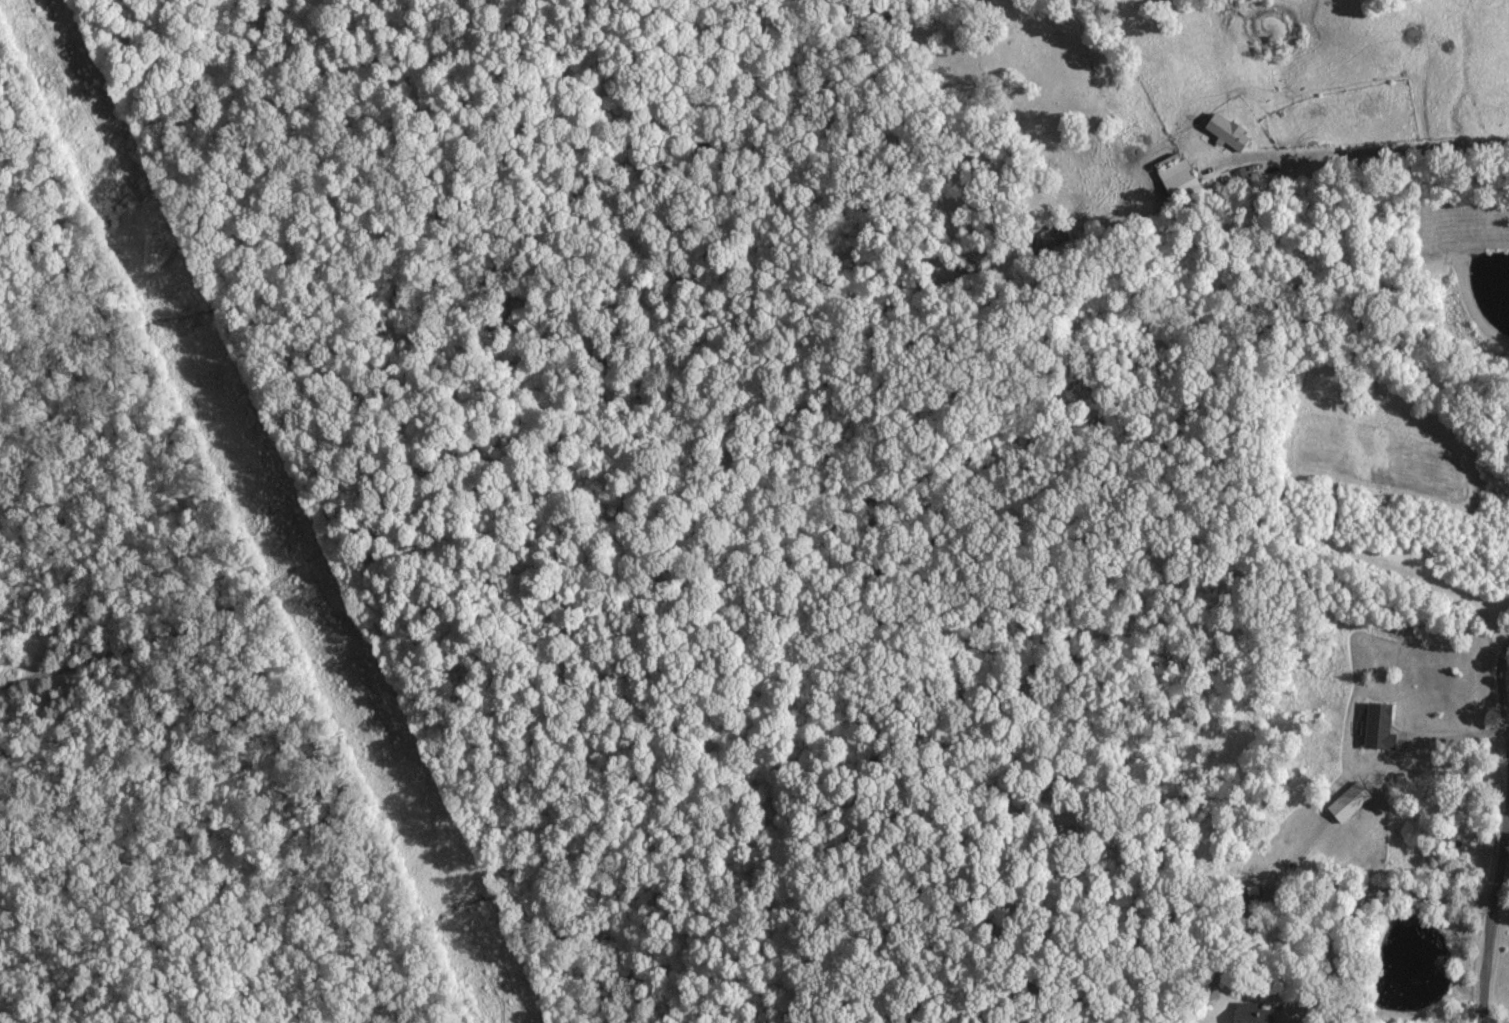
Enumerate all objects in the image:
building: (1222, 132)
road: (1386, 147)
building: (1175, 176)
building: (1239, 176)
power tower: (149, 277)
power tower: (301, 581)
building: (1375, 726)
building: (1345, 802)
road: (1501, 832)
road: (1024, 923)
road: (1382, 1014)

